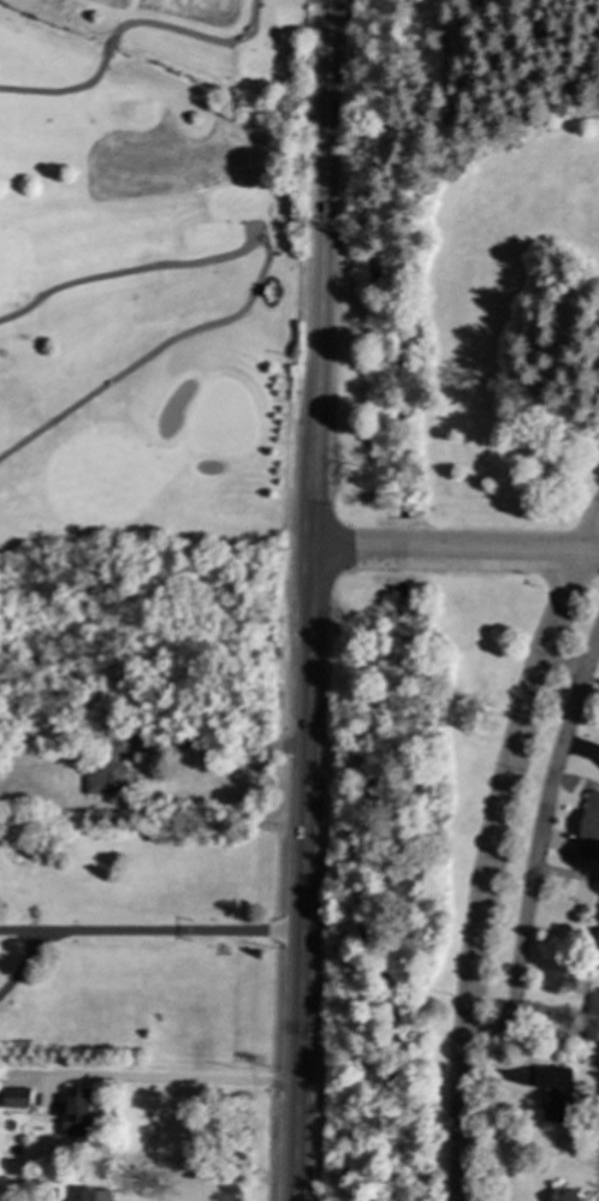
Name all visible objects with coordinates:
road: (195, 36)
road: (108, 47)
road: (58, 91)
building: (280, 264)
park: (469, 269)
road: (257, 280)
park: (152, 281)
road: (593, 537)
road: (456, 551)
road: (312, 600)
road: (226, 747)
building: (106, 772)
building: (589, 828)
road: (538, 843)
road: (487, 868)
park: (431, 878)
river: (373, 898)
road: (31, 931)
road: (184, 931)
building: (597, 939)
road: (28, 961)
building: (592, 1016)
road: (172, 1081)
building: (561, 1096)
building: (14, 1098)
building: (75, 1112)
building: (95, 1195)
building: (564, 1196)

